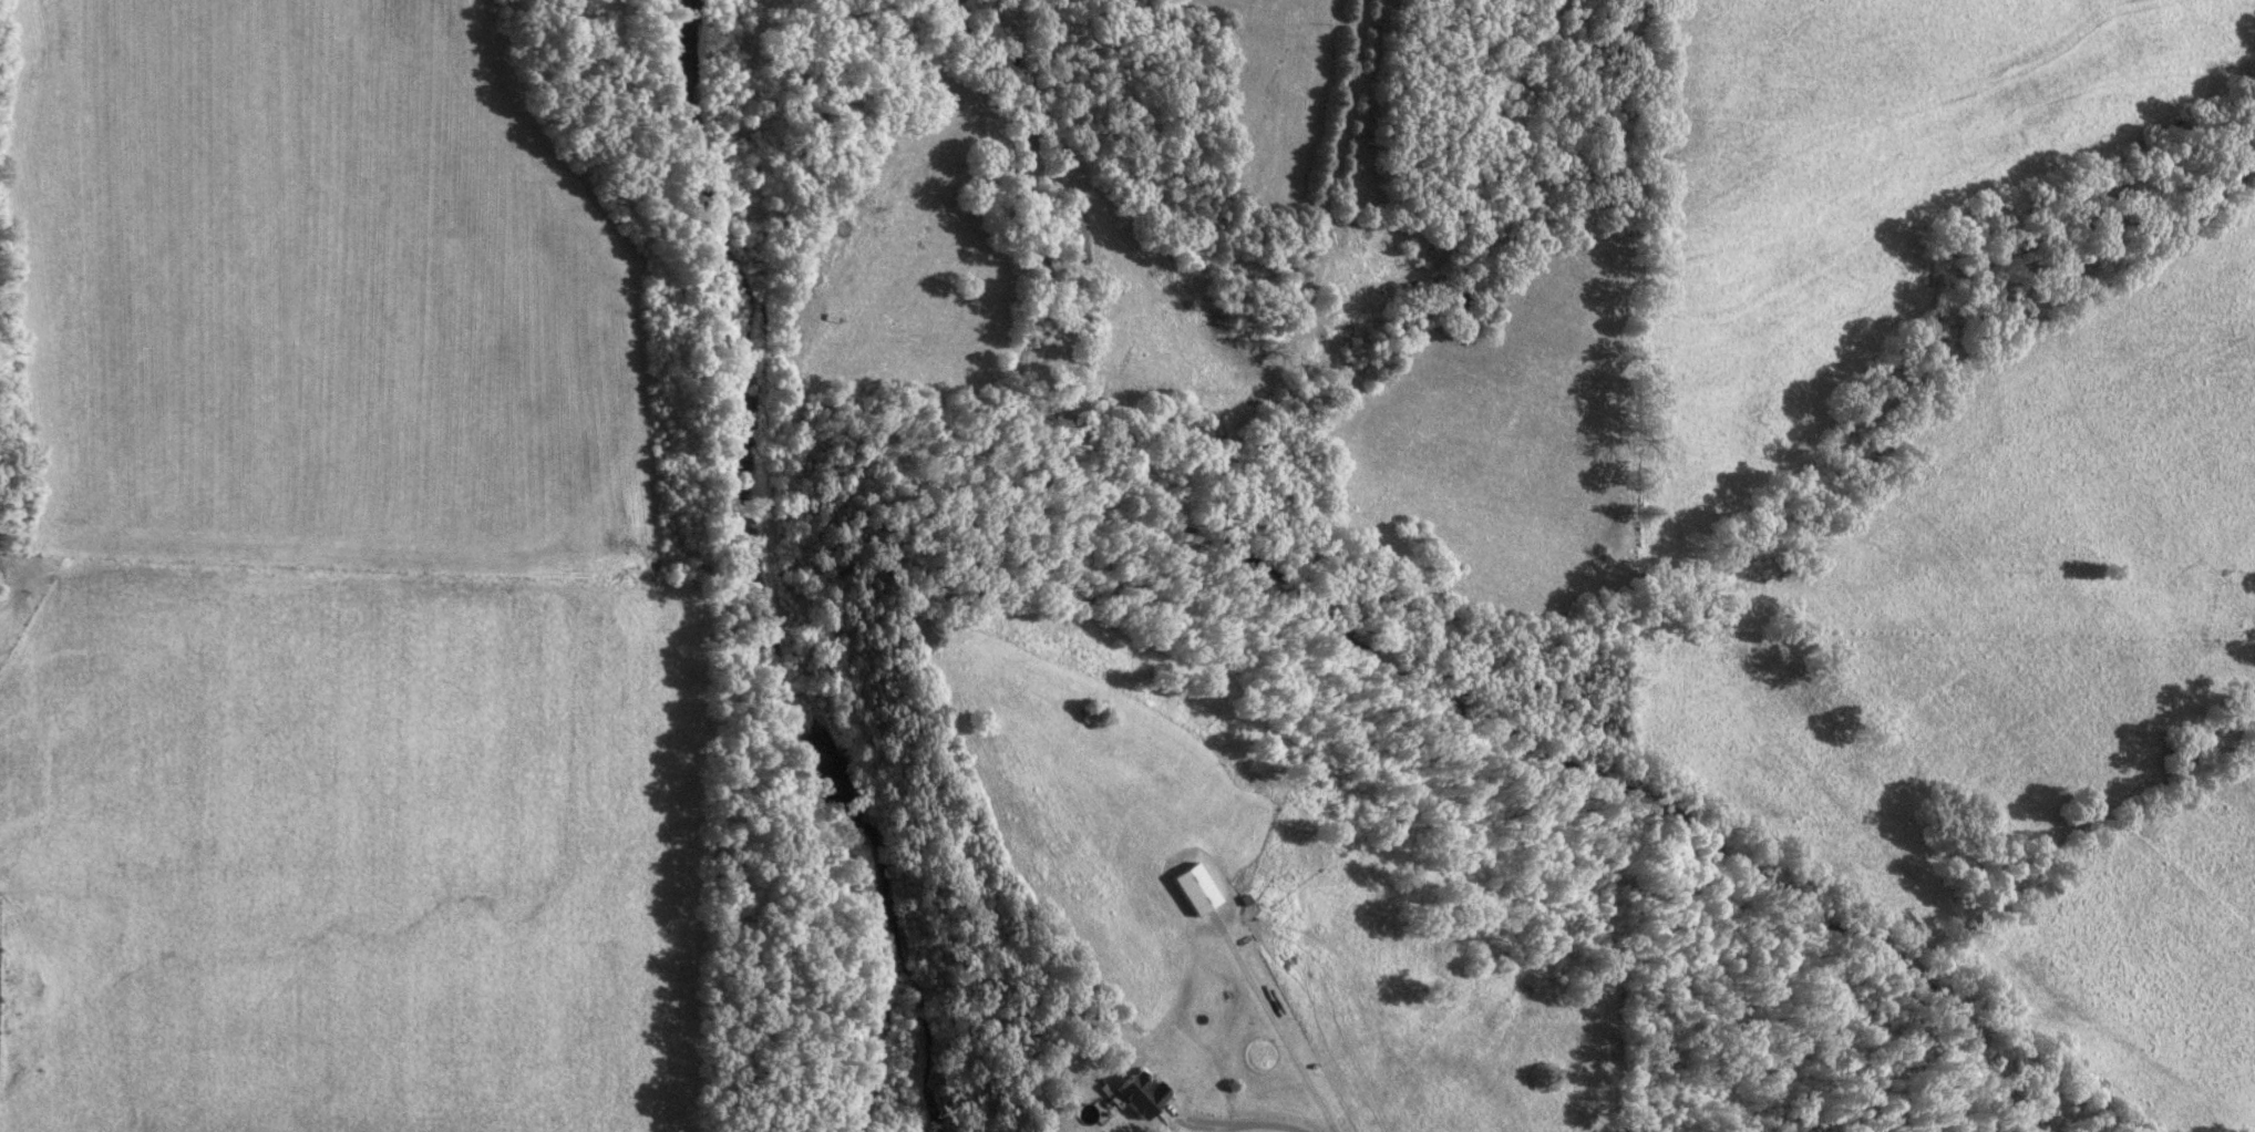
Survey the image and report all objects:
road: (1310, 174)
building: (1195, 888)
road: (1275, 1022)
building: (1136, 1093)
road: (1257, 1119)

